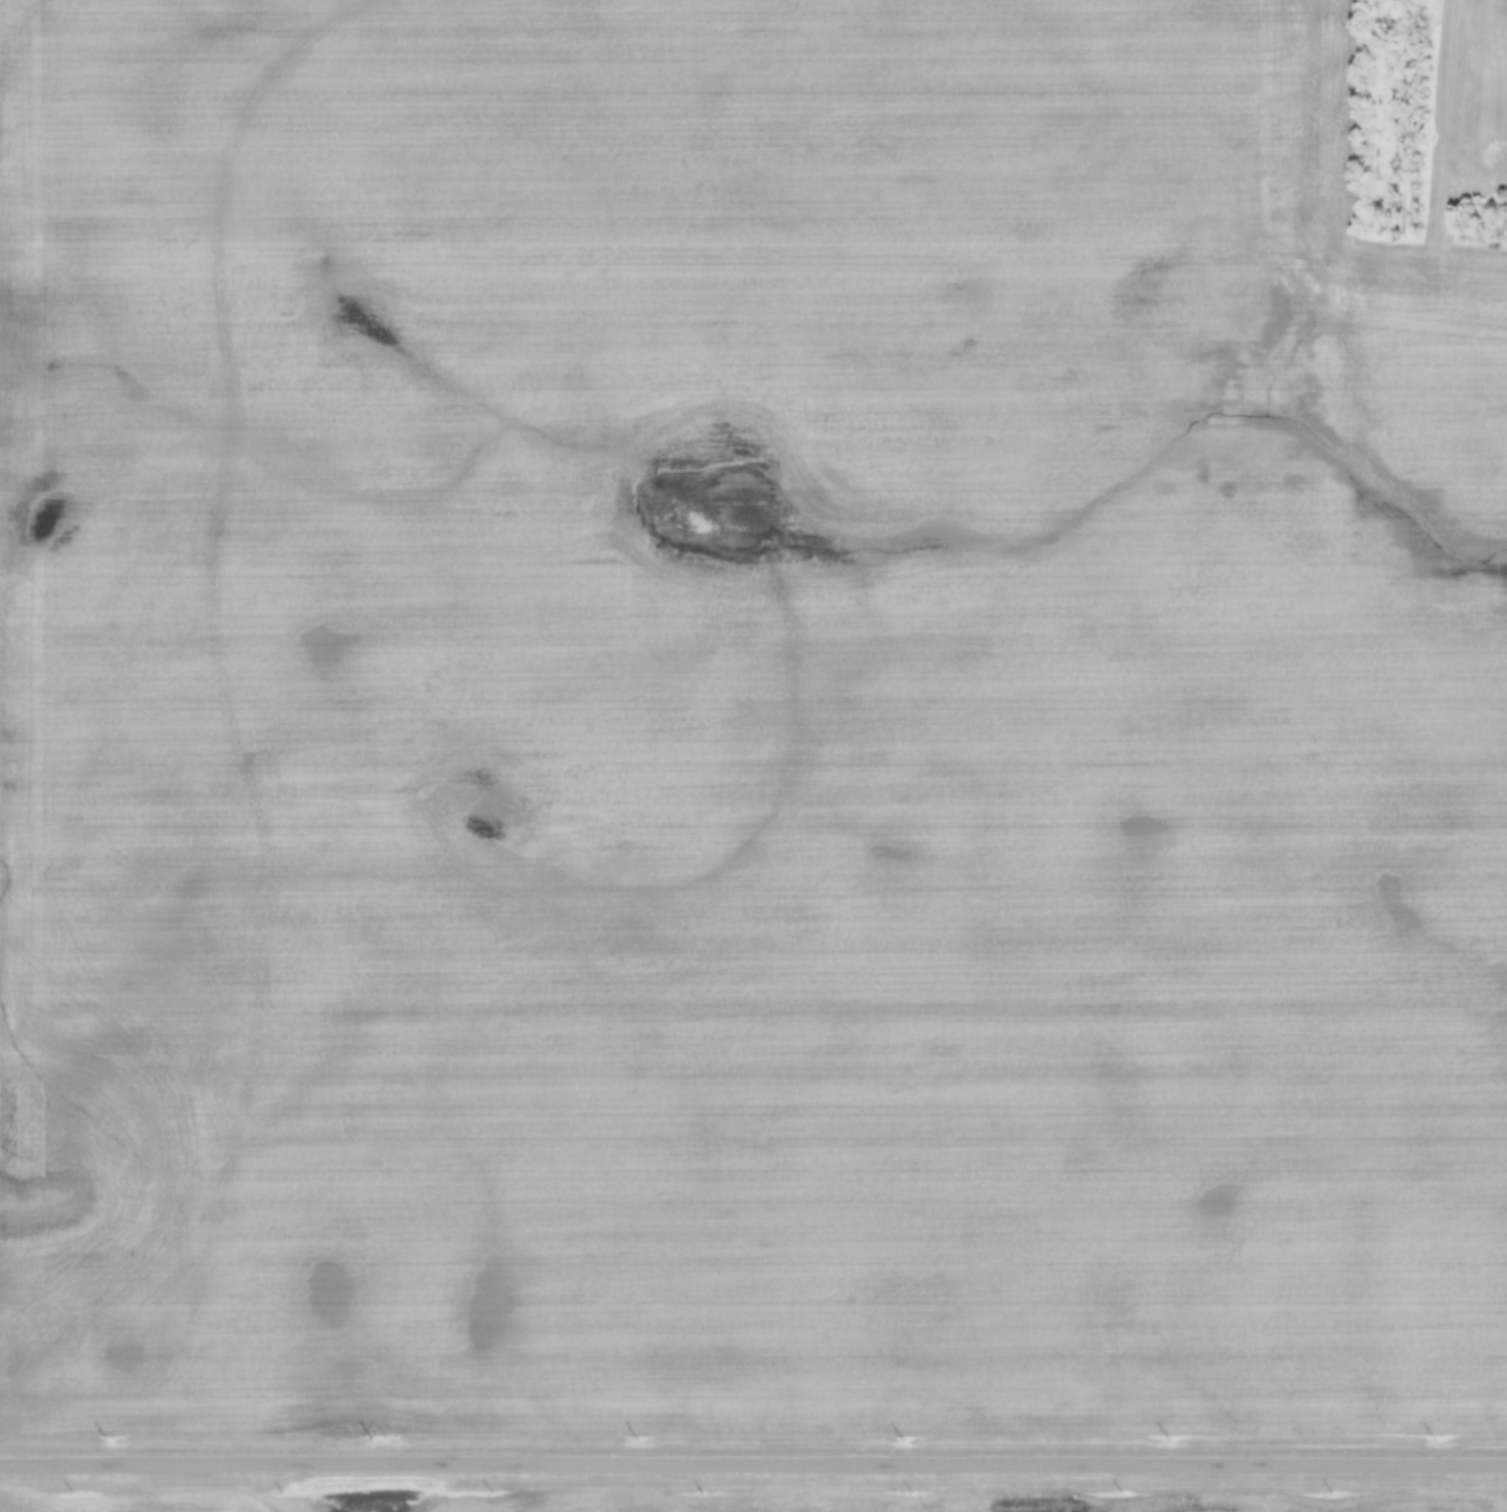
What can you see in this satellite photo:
road: (753, 1466)

